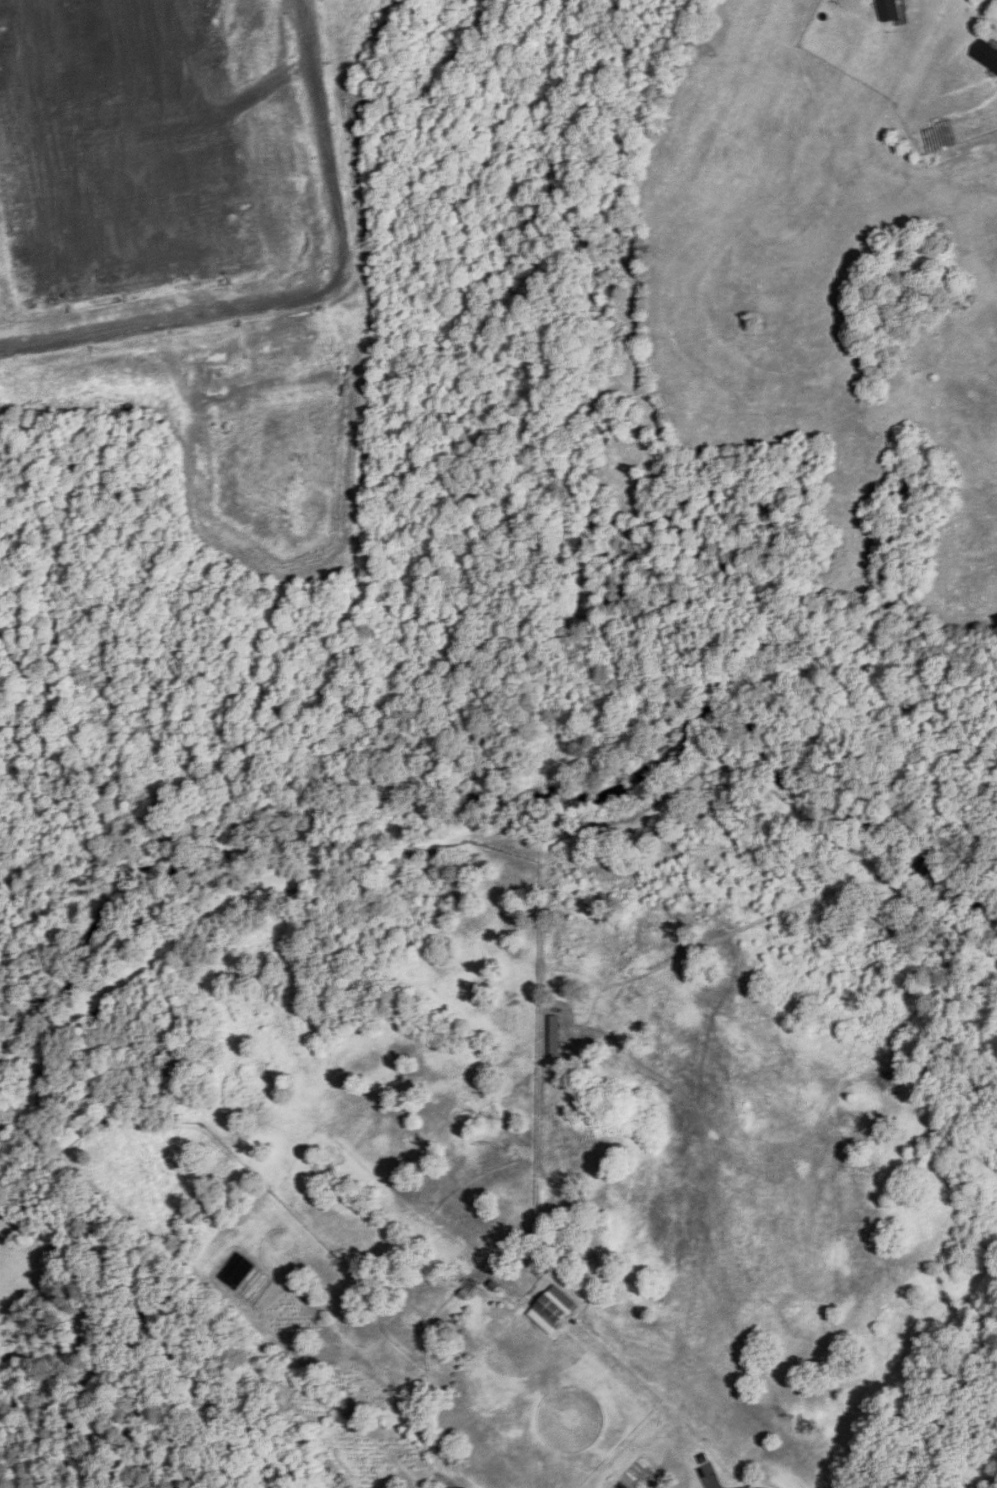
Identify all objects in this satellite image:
building: (987, 57)
road: (308, 294)
building: (554, 1311)
building: (573, 1420)

